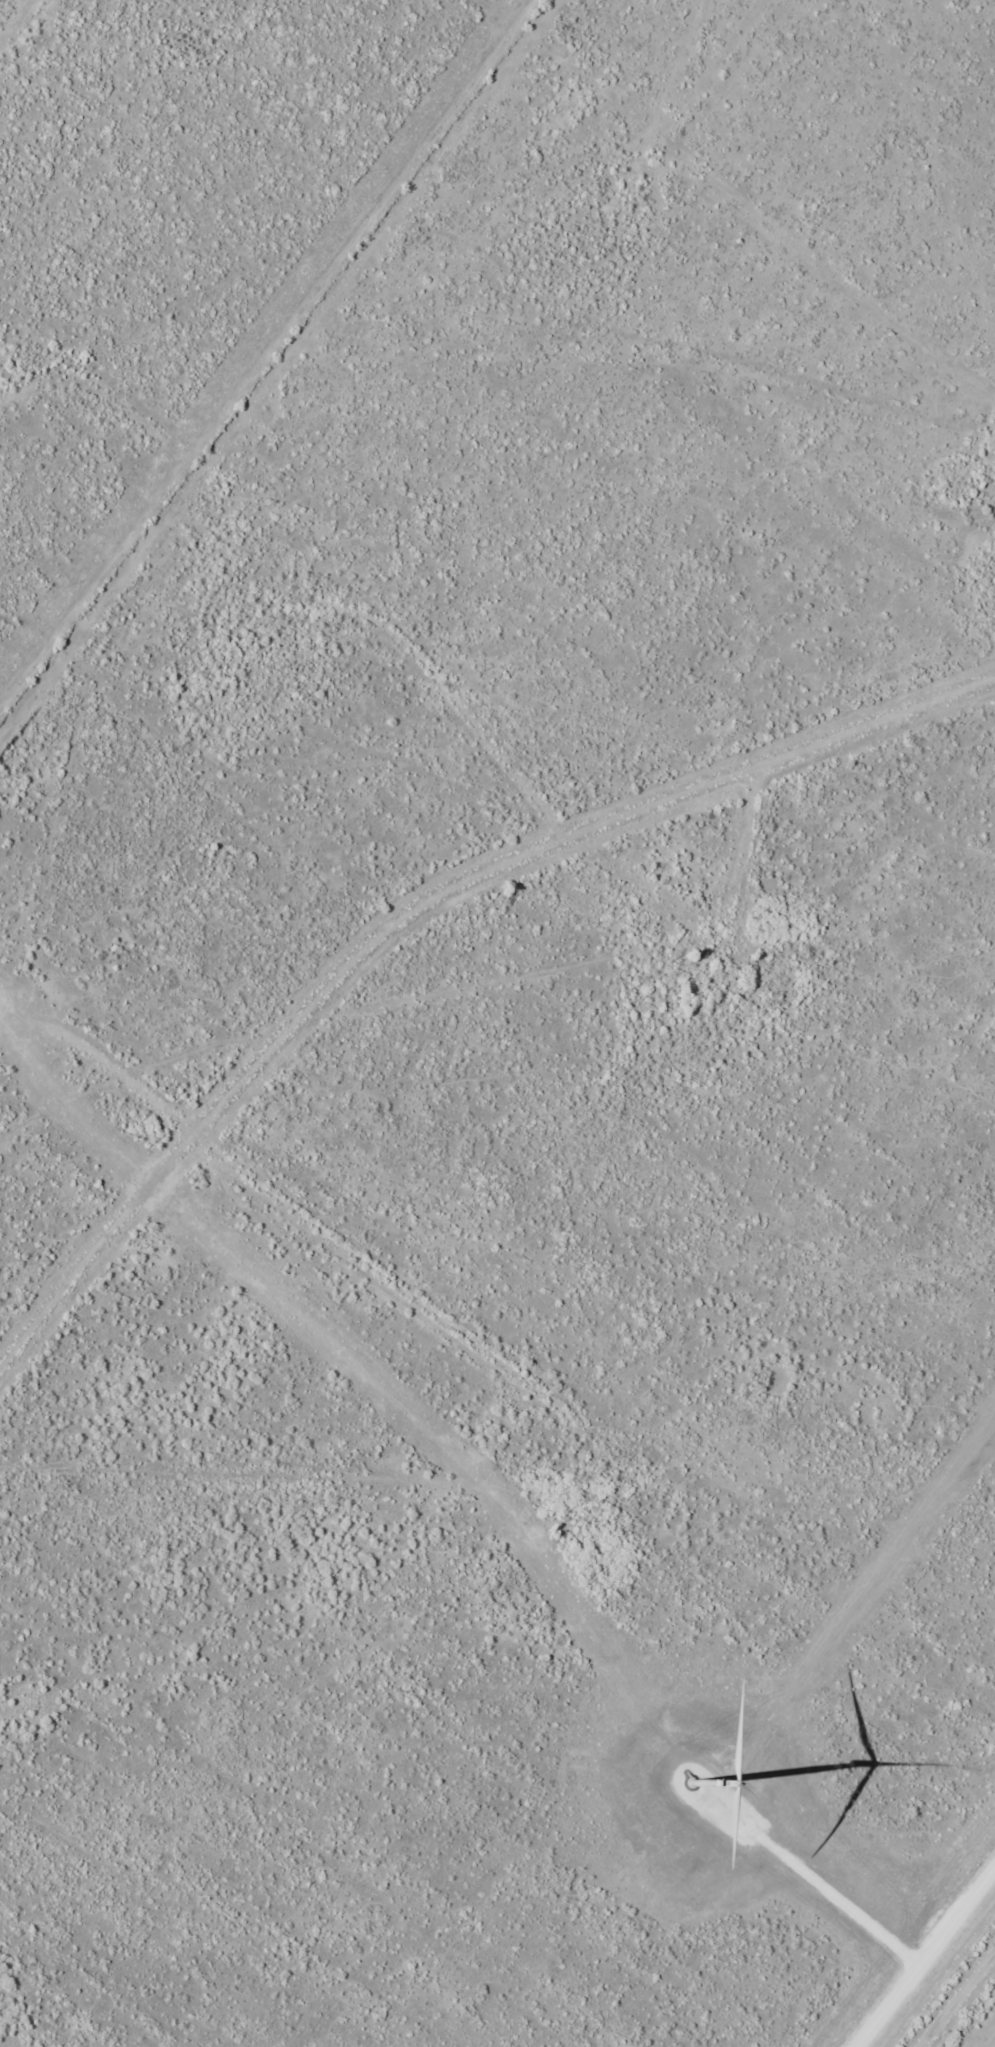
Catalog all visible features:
road: (424, 962)
wind turbine: (696, 1783)
road: (969, 2015)

